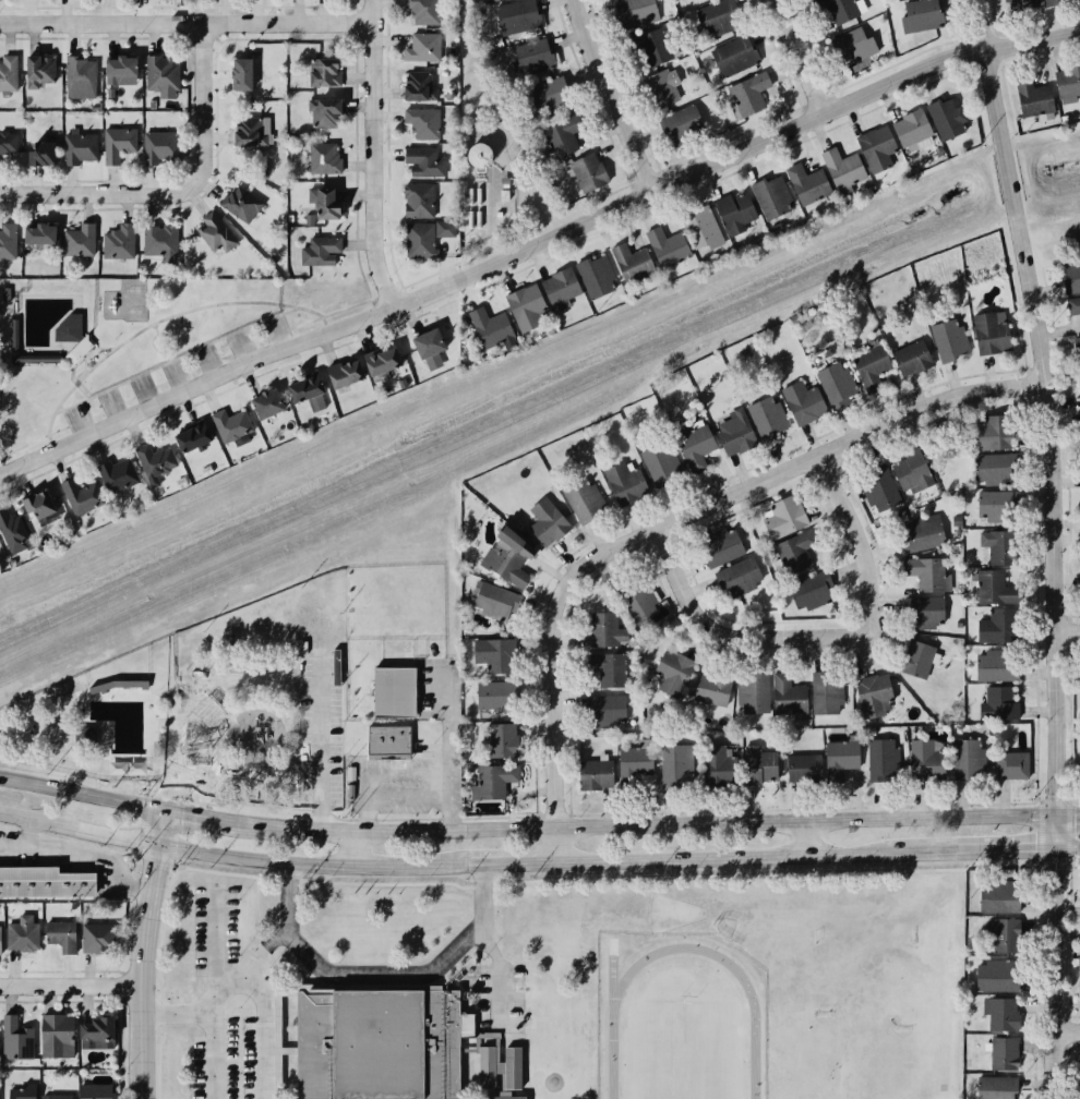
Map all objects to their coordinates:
building: (491, 0)
building: (692, 1)
building: (1054, 2)
building: (1021, 4)
building: (842, 9)
building: (418, 11)
building: (638, 12)
building: (916, 14)
building: (516, 19)
building: (712, 19)
road: (185, 21)
building: (421, 44)
building: (652, 47)
building: (854, 47)
building: (733, 55)
road: (805, 56)
building: (532, 58)
building: (117, 64)
building: (320, 67)
building: (36, 71)
building: (240, 71)
building: (7, 73)
building: (77, 76)
building: (159, 76)
building: (412, 80)
building: (1070, 82)
building: (662, 86)
building: (746, 90)
road: (615, 96)
building: (550, 97)
building: (1031, 98)
road: (211, 108)
building: (322, 111)
building: (943, 118)
building: (419, 122)
building: (679, 124)
building: (248, 130)
building: (911, 131)
building: (560, 135)
building: (81, 143)
building: (118, 143)
building: (41, 144)
building: (7, 145)
building: (164, 145)
building: (877, 147)
road: (372, 155)
building: (478, 156)
building: (321, 157)
water tower: (478, 157)
building: (420, 161)
building: (840, 170)
building: (587, 172)
building: (805, 184)
road: (95, 192)
building: (767, 194)
building: (417, 200)
building: (322, 201)
building: (238, 203)
building: (732, 207)
road: (490, 221)
building: (699, 227)
building: (445, 228)
building: (214, 231)
building: (35, 233)
building: (77, 239)
building: (5, 240)
building: (118, 240)
building: (160, 241)
building: (419, 241)
road: (537, 244)
building: (665, 245)
building: (317, 249)
building: (627, 257)
building: (1073, 273)
road: (360, 274)
building: (595, 274)
building: (557, 285)
building: (1075, 304)
building: (524, 305)
road: (278, 307)
road: (336, 310)
road: (284, 319)
road: (322, 319)
road: (159, 321)
building: (70, 326)
building: (483, 326)
road: (154, 328)
building: (987, 330)
road: (275, 331)
road: (288, 331)
building: (948, 337)
road: (257, 338)
park: (137, 339)
building: (1079, 343)
road: (241, 346)
building: (423, 346)
road: (155, 349)
road: (224, 353)
road: (166, 354)
building: (376, 355)
building: (911, 357)
road: (172, 358)
road: (207, 361)
road: (191, 367)
building: (872, 367)
building: (338, 370)
road: (175, 375)
parking lot: (177, 377)
road: (159, 383)
building: (836, 383)
building: (301, 385)
road: (143, 390)
road: (127, 397)
building: (800, 400)
building: (263, 403)
road: (110, 404)
road: (59, 406)
road: (94, 411)
building: (765, 414)
road: (63, 416)
road: (77, 419)
building: (227, 423)
road: (69, 427)
building: (730, 427)
road: (57, 428)
building: (994, 433)
building: (188, 434)
road: (501, 434)
road: (47, 437)
road: (845, 443)
road: (23, 444)
building: (692, 444)
building: (153, 461)
building: (656, 463)
building: (993, 469)
building: (912, 471)
building: (117, 473)
building: (621, 482)
building: (879, 487)
building: (76, 493)
building: (580, 497)
building: (35, 502)
building: (997, 507)
building: (784, 516)
building: (544, 520)
building: (955, 521)
building: (11, 529)
building: (922, 532)
road: (856, 542)
building: (993, 543)
building: (718, 546)
road: (1053, 546)
building: (793, 552)
building: (507, 556)
building: (923, 575)
building: (736, 582)
building: (986, 589)
building: (808, 592)
building: (637, 597)
building: (489, 602)
building: (921, 613)
building: (991, 627)
building: (598, 628)
road: (1067, 632)
road: (731, 637)
building: (226, 638)
building: (489, 655)
road: (556, 655)
building: (917, 659)
building: (997, 664)
building: (600, 667)
building: (669, 672)
parking lot: (431, 688)
building: (708, 688)
building: (389, 691)
building: (752, 692)
building: (872, 692)
building: (828, 696)
building: (790, 697)
road: (254, 698)
building: (485, 698)
road: (169, 701)
building: (999, 701)
park: (207, 711)
road: (274, 712)
building: (604, 712)
road: (160, 714)
building: (182, 721)
road: (197, 723)
road: (169, 726)
road: (223, 727)
road: (289, 729)
parking lot: (317, 730)
road: (159, 739)
building: (388, 740)
building: (492, 740)
road: (317, 745)
road: (295, 746)
road: (169, 747)
road: (273, 748)
road: (447, 752)
road: (203, 754)
road: (173, 756)
road: (181, 756)
road: (185, 756)
road: (192, 756)
road: (209, 758)
road: (250, 758)
building: (883, 758)
building: (970, 759)
building: (837, 760)
building: (924, 760)
road: (169, 762)
road: (179, 762)
road: (183, 762)
road: (188, 762)
road: (197, 762)
road: (229, 762)
building: (712, 762)
building: (1010, 762)
road: (273, 763)
building: (756, 764)
building: (633, 766)
building: (672, 766)
building: (801, 768)
road: (173, 770)
road: (181, 770)
road: (185, 770)
road: (192, 770)
road: (373, 772)
building: (591, 775)
road: (179, 776)
road: (183, 776)
road: (188, 776)
road: (208, 780)
road: (181, 783)
road: (184, 783)
parking lot: (401, 783)
building: (489, 783)
road: (163, 785)
road: (194, 788)
road: (180, 789)
road: (82, 794)
road: (204, 796)
road: (178, 798)
road: (200, 798)
road: (217, 798)
road: (407, 798)
road: (176, 800)
road: (194, 801)
road: (183, 802)
road: (204, 802)
road: (218, 802)
road: (261, 804)
road: (311, 807)
traffic signals: (165, 813)
road: (339, 818)
road: (1070, 818)
road: (200, 819)
traffic signals: (1060, 819)
road: (145, 824)
road: (648, 828)
road: (173, 831)
road: (809, 838)
traffic signals: (159, 844)
road: (559, 845)
traffic signals: (1059, 845)
road: (1069, 845)
road: (1021, 846)
road: (351, 850)
road: (770, 854)
road: (154, 856)
road: (238, 856)
road: (519, 861)
road: (172, 862)
building: (43, 884)
road: (482, 886)
road: (288, 887)
building: (997, 897)
park: (670, 913)
park: (730, 927)
road: (287, 929)
building: (60, 935)
building: (998, 937)
building: (21, 939)
building: (0, 940)
building: (95, 940)
road: (271, 941)
road: (217, 942)
park: (868, 945)
road: (143, 955)
flagpole: (272, 968)
road: (413, 974)
road: (500, 974)
building: (993, 976)
building: (1079, 978)
road: (71, 982)
road: (175, 1012)
building: (999, 1012)
road: (159, 1013)
road: (259, 1024)
building: (95, 1027)
road: (1069, 1028)
road: (209, 1030)
road: (265, 1030)
building: (55, 1034)
building: (14, 1040)
building: (376, 1042)
park: (682, 1046)
park: (855, 1052)
building: (1004, 1053)
building: (485, 1064)
building: (512, 1066)
building: (993, 1086)
building: (24, 1091)
building: (93, 1091)
building: (56, 1095)
building: (504, 1097)

